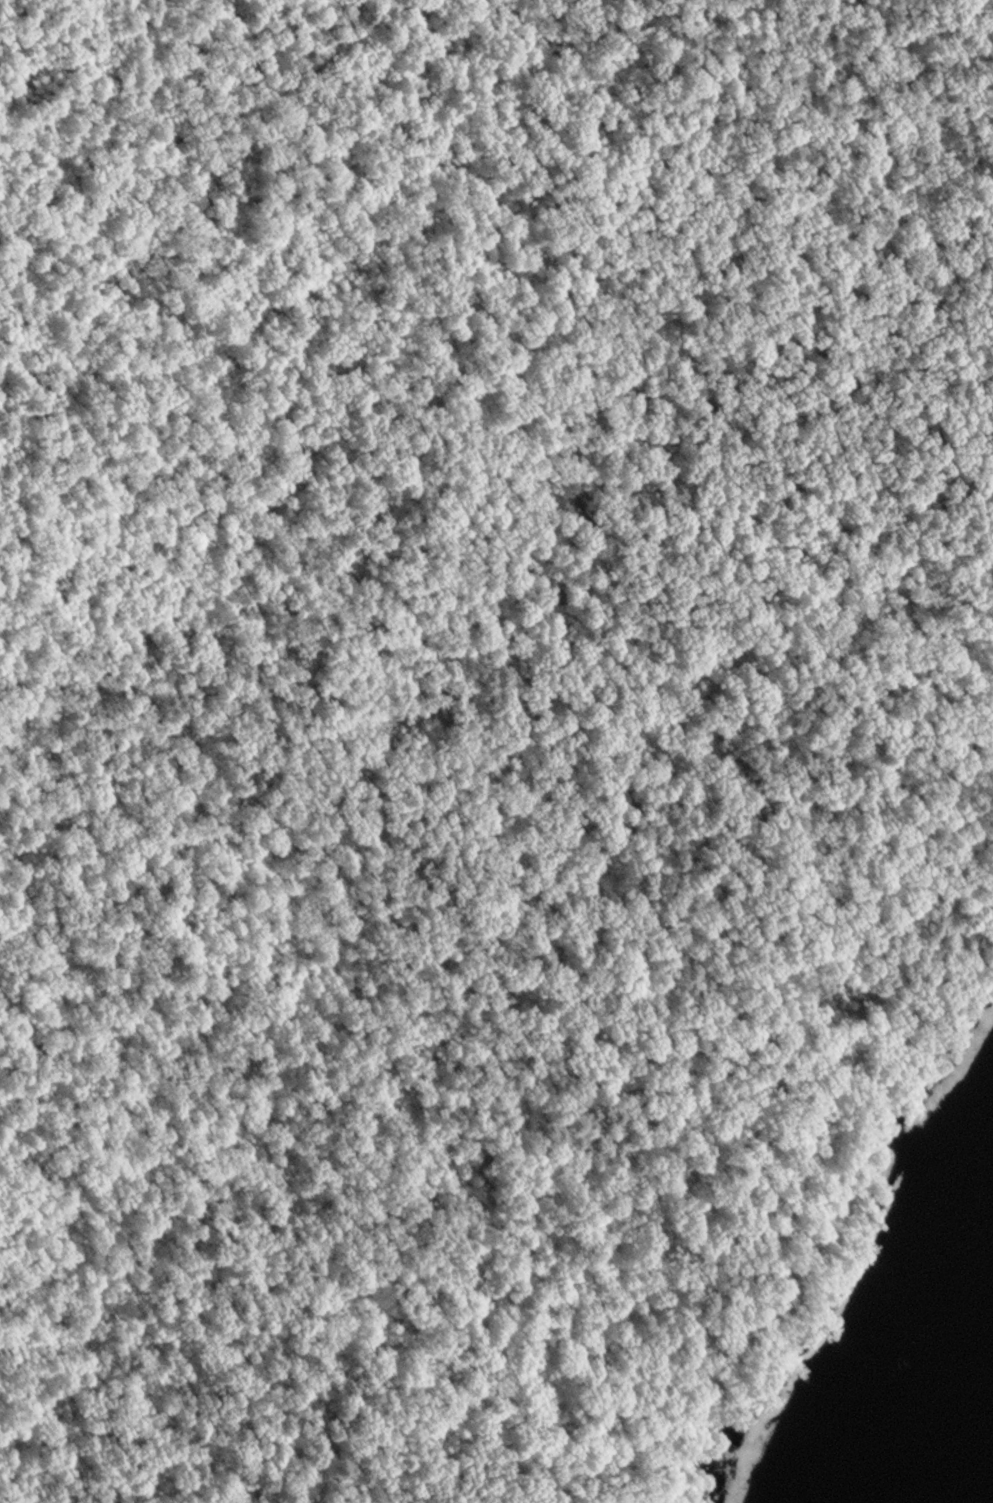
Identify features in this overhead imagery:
road: (819, 247)
road: (789, 1185)

